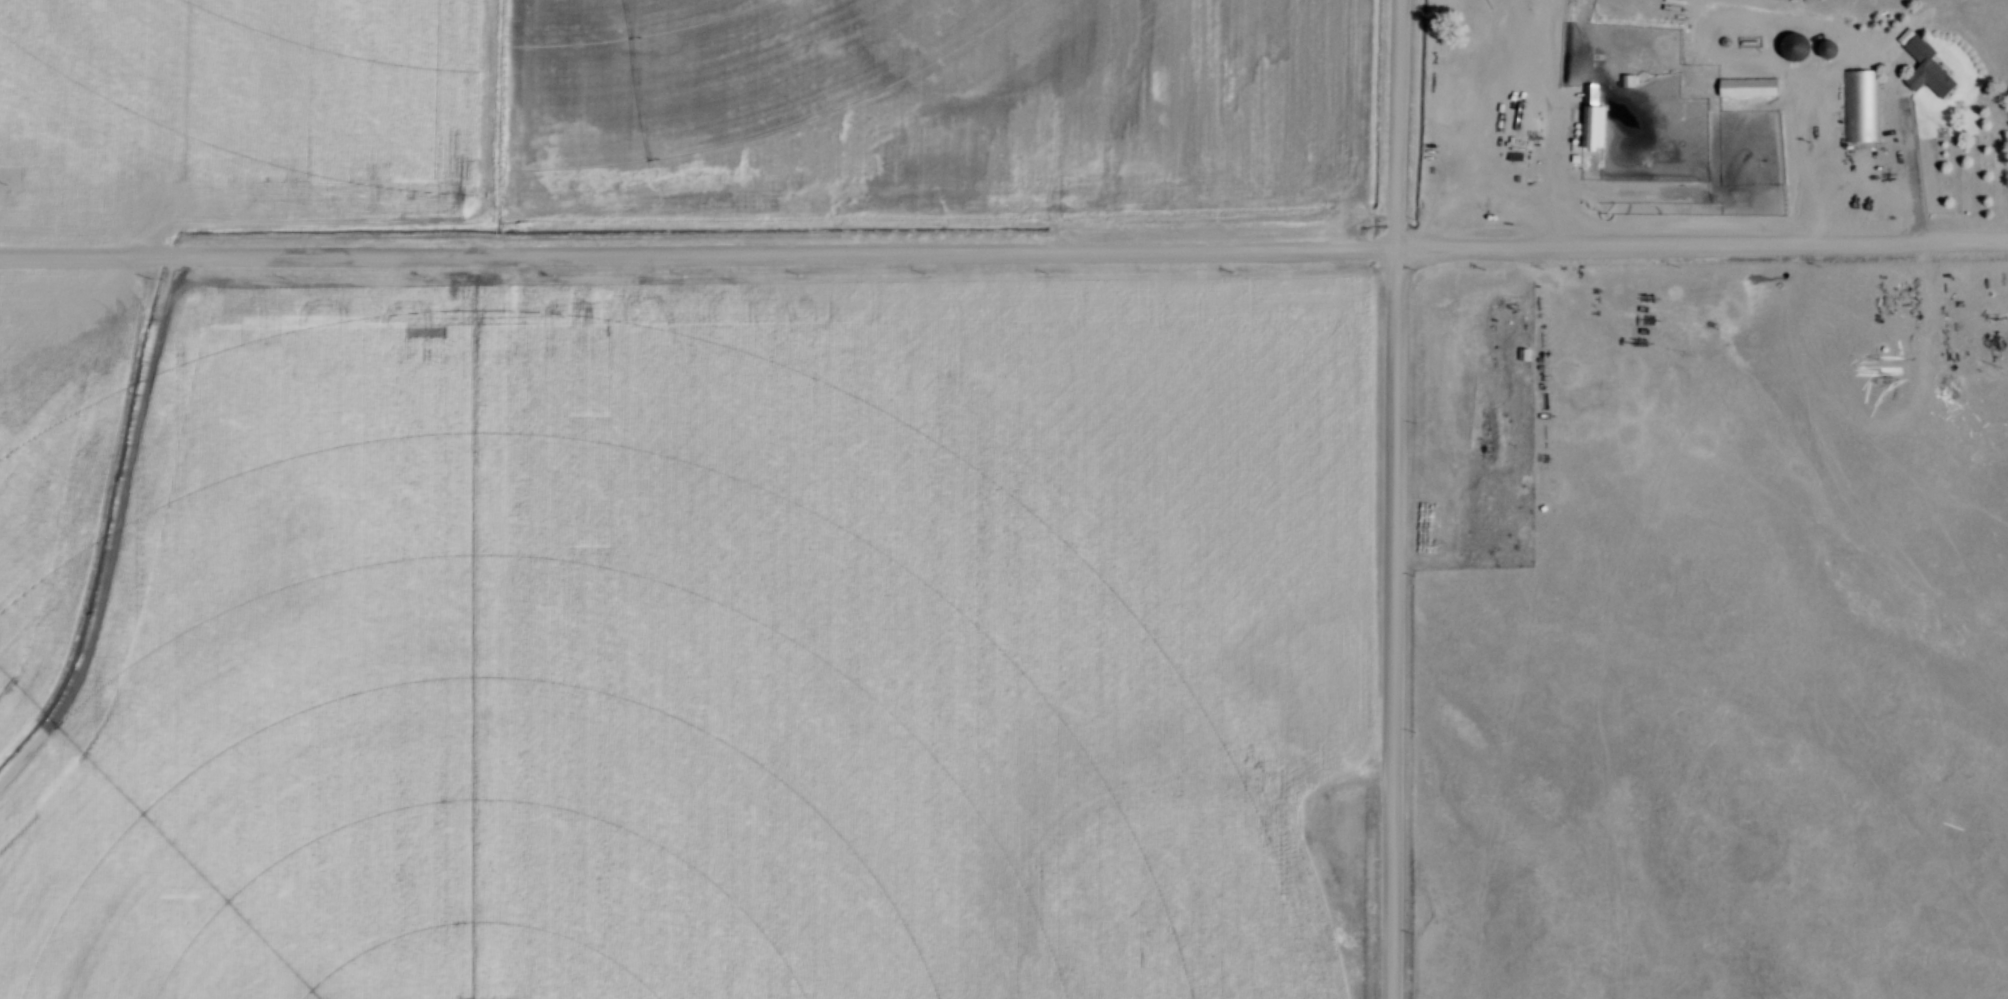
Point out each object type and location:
building: (1789, 48)
silo: (1789, 48)
building: (1819, 50)
silo: (1819, 50)
building: (1926, 66)
building: (1740, 90)
crop: (924, 104)
building: (1851, 109)
crop: (220, 110)
building: (1581, 122)
road: (1536, 124)
road: (1904, 161)
road: (1003, 253)
road: (1383, 499)
crop: (671, 634)

